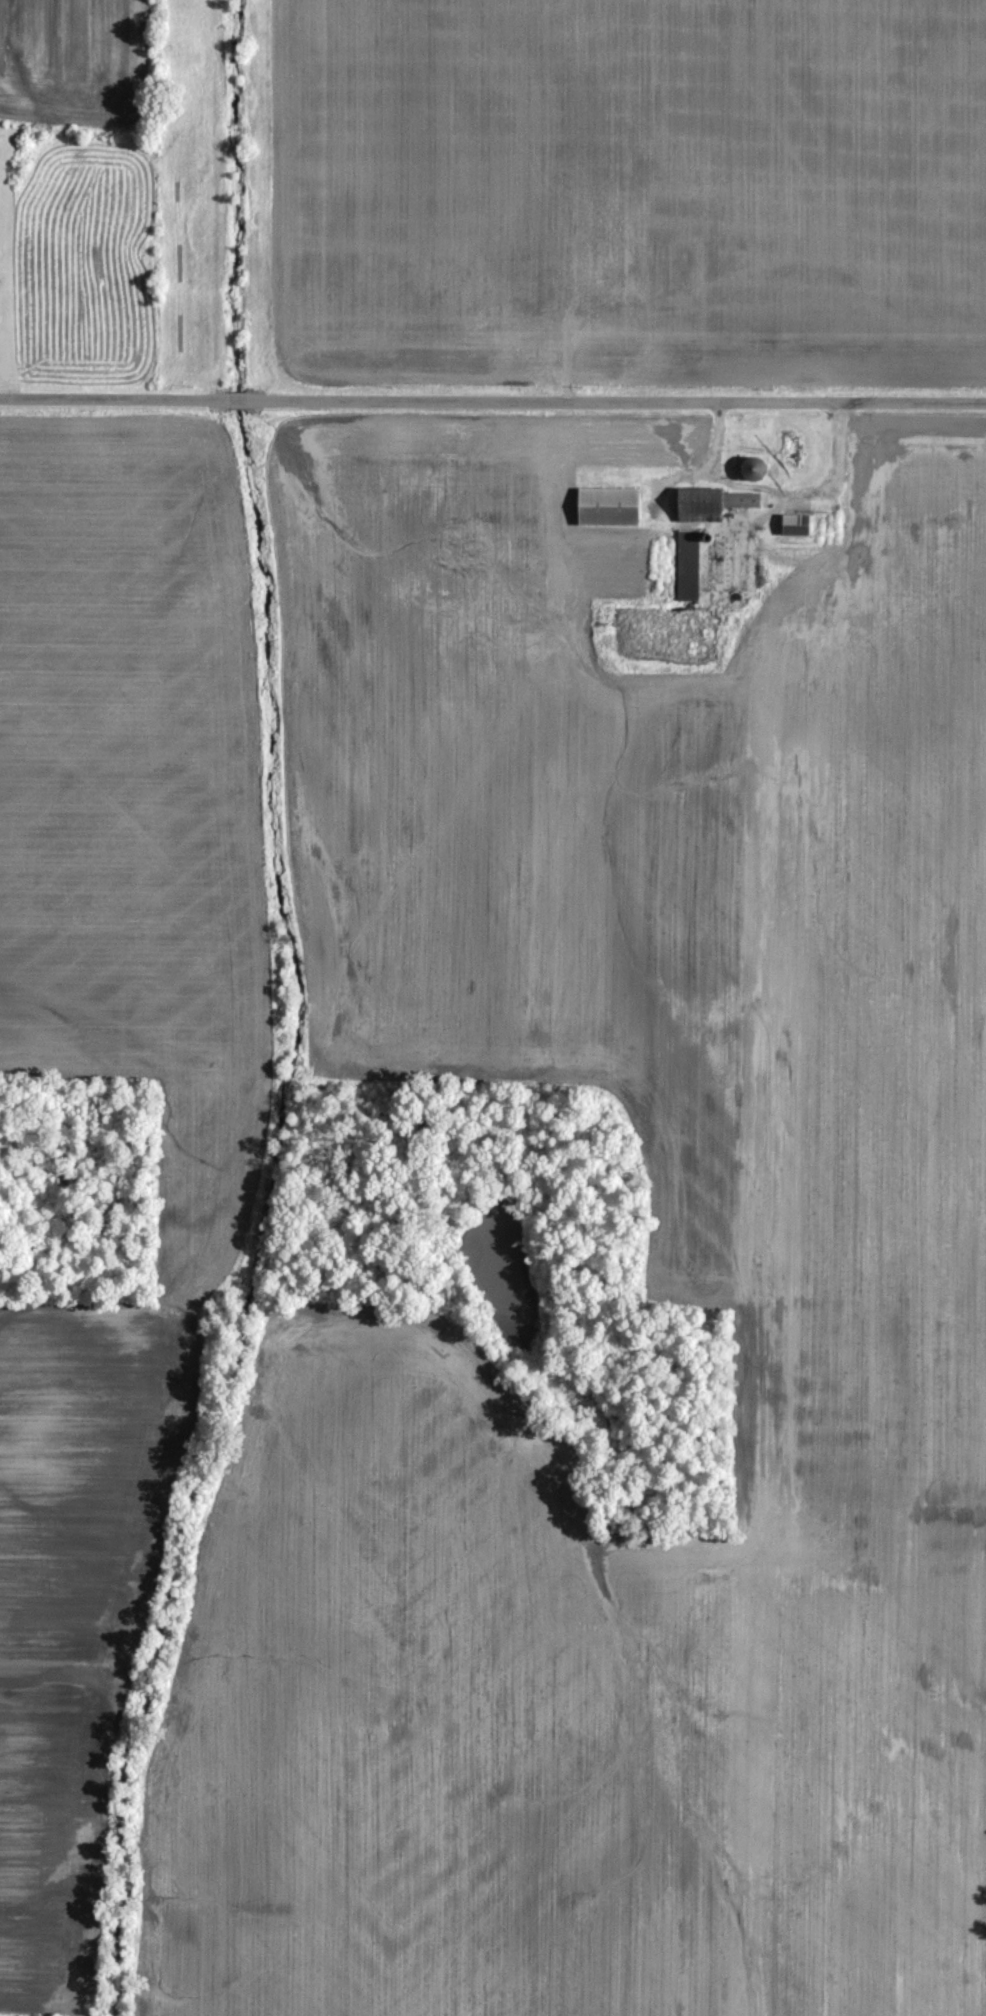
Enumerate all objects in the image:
road: (492, 391)
road: (837, 466)
building: (609, 503)
building: (796, 521)
building: (688, 561)

